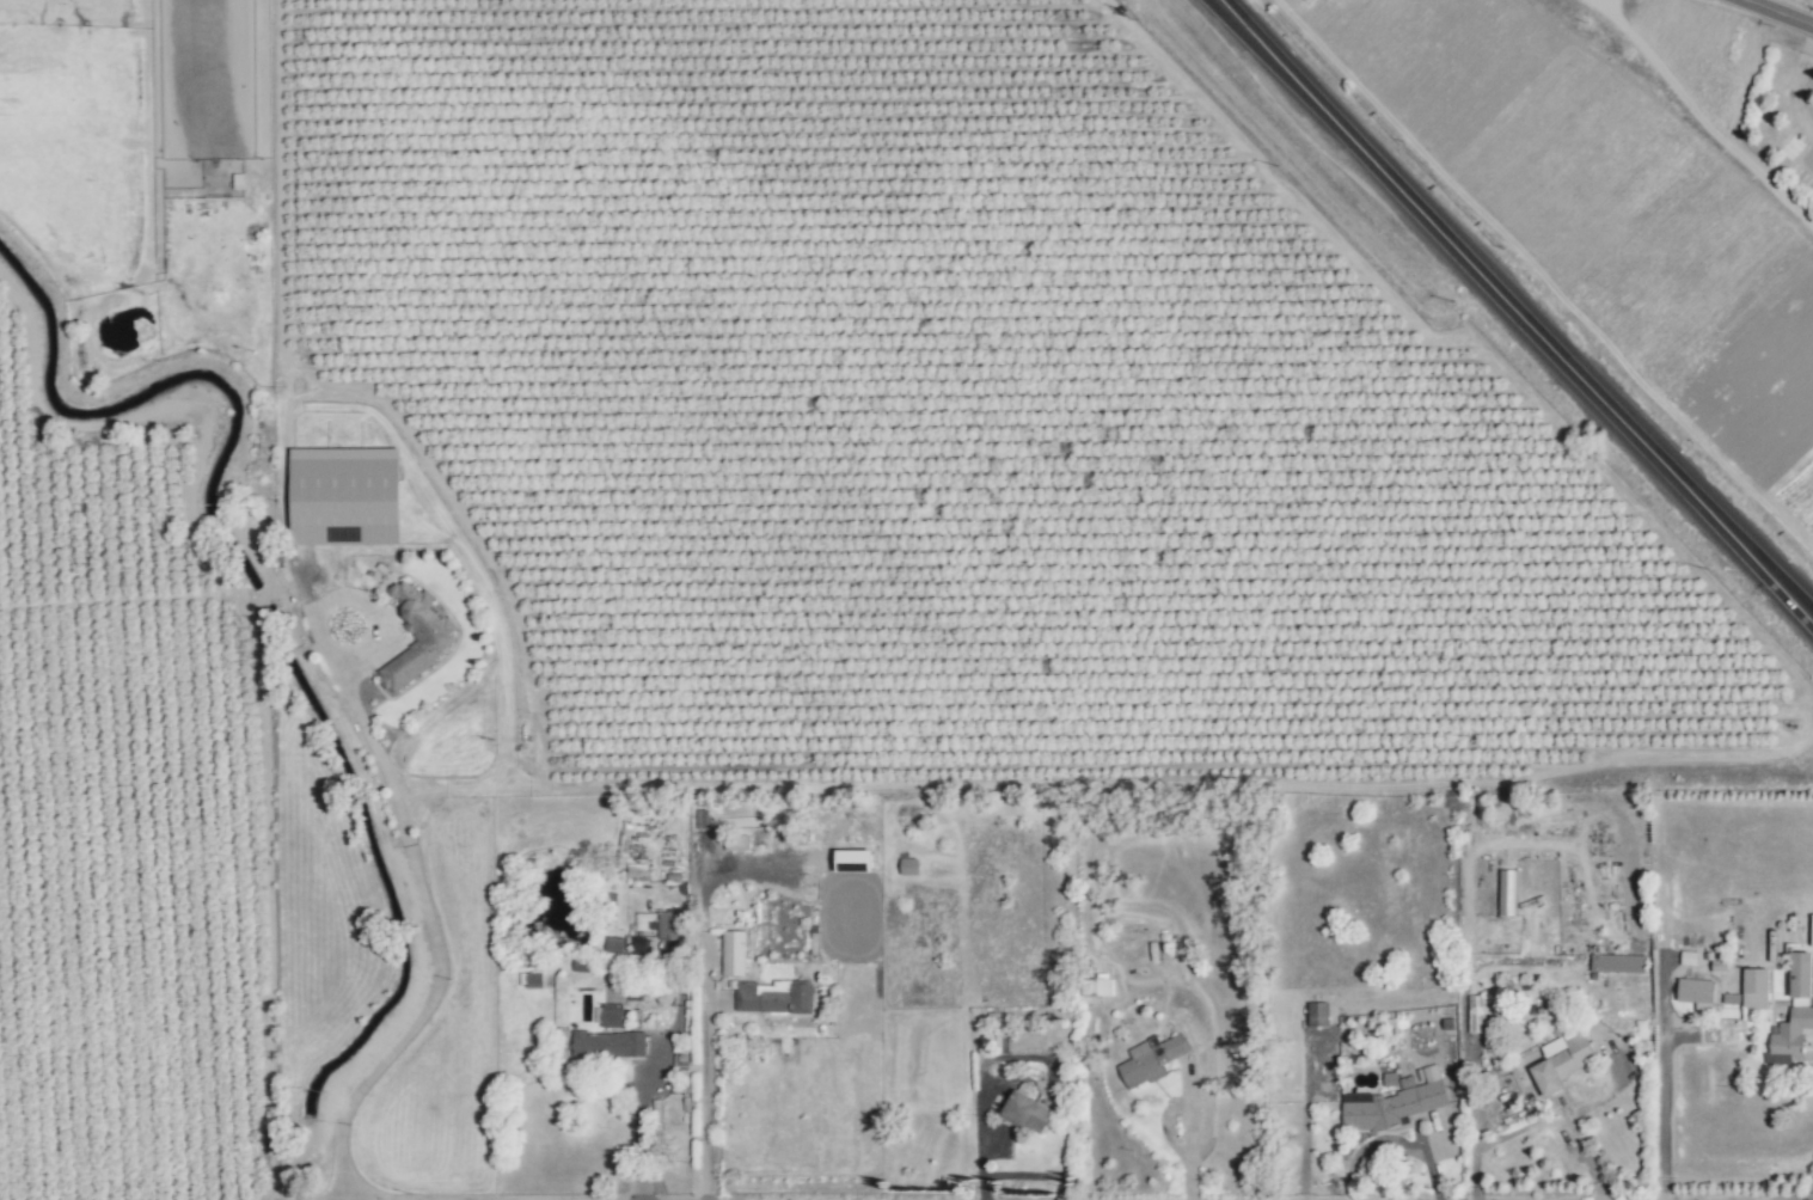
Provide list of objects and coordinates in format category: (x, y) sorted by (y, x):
road: (1784, 11)
railway: (1567, 258)
road: (1457, 259)
road: (281, 320)
crop: (1062, 399)
building: (345, 496)
road: (1757, 576)
building: (418, 638)
crop: (111, 711)
building: (735, 843)
building: (853, 861)
building: (908, 867)
building: (1506, 893)
road: (429, 920)
building: (669, 926)
building: (1811, 931)
building: (641, 945)
building: (613, 953)
building: (733, 953)
building: (1688, 957)
building: (1617, 963)
building: (1800, 979)
building: (533, 980)
building: (1103, 986)
building: (1754, 987)
building: (1696, 992)
building: (774, 998)
building: (1475, 1014)
building: (1318, 1015)
building: (611, 1016)
building: (1789, 1036)
building: (607, 1045)
building: (1150, 1060)
building: (1562, 1064)
road: (708, 1078)
road: (1664, 1080)
road: (1610, 1092)
building: (1392, 1104)
building: (1027, 1113)
road: (1306, 1120)
road: (1537, 1122)
road: (1186, 1134)
road: (639, 1135)

